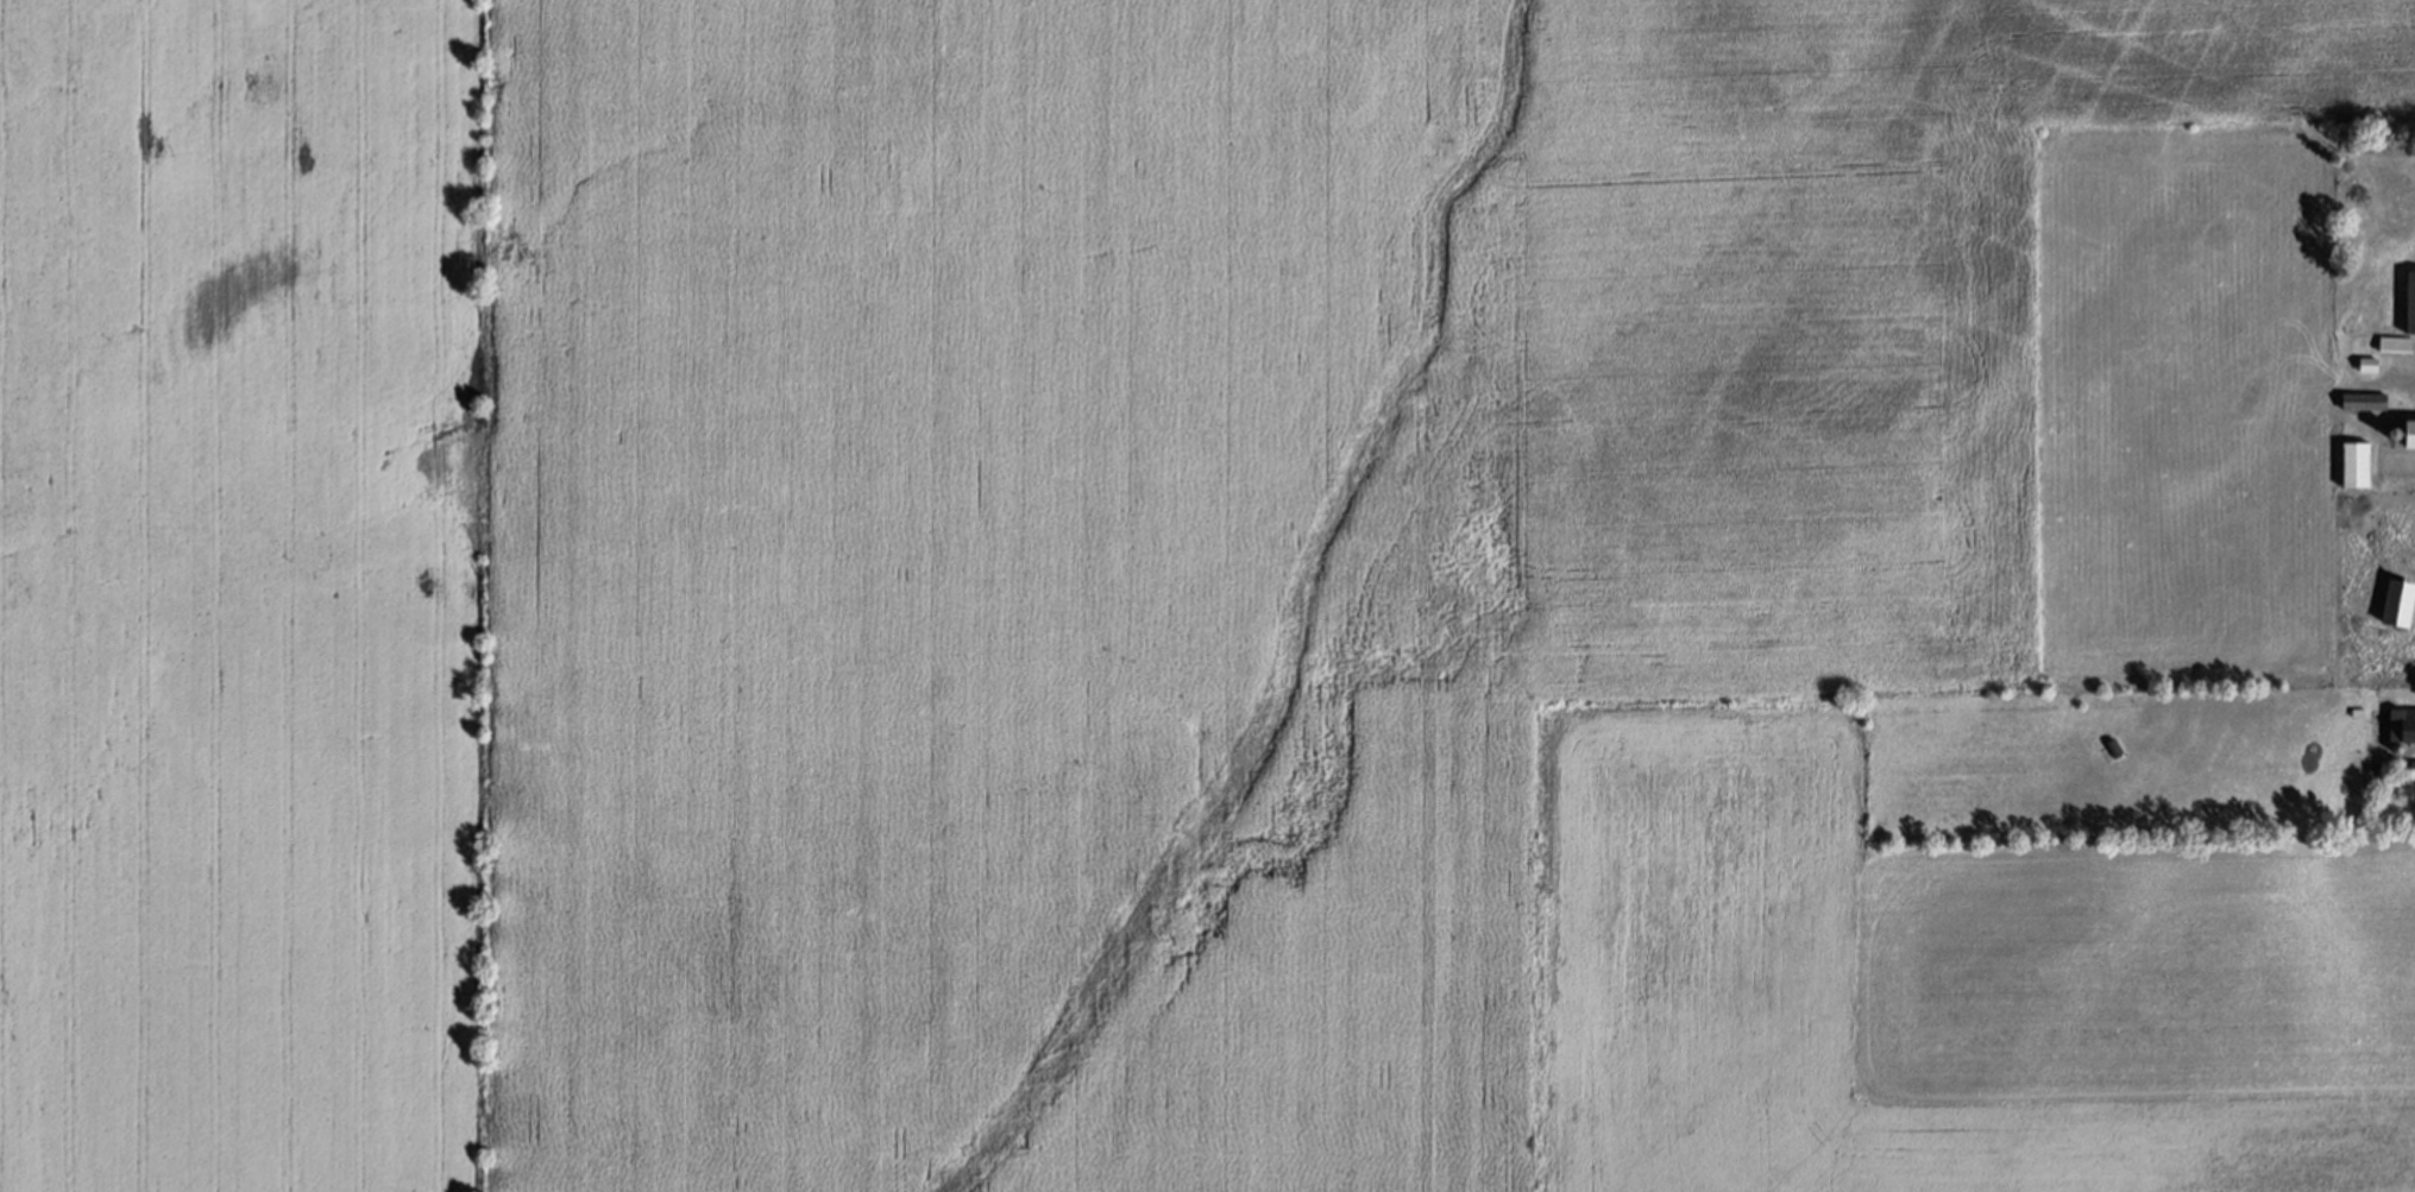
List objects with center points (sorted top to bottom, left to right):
building: (2409, 301)
building: (2396, 343)
building: (2366, 401)
building: (2359, 463)
building: (2401, 600)
building: (2401, 723)

